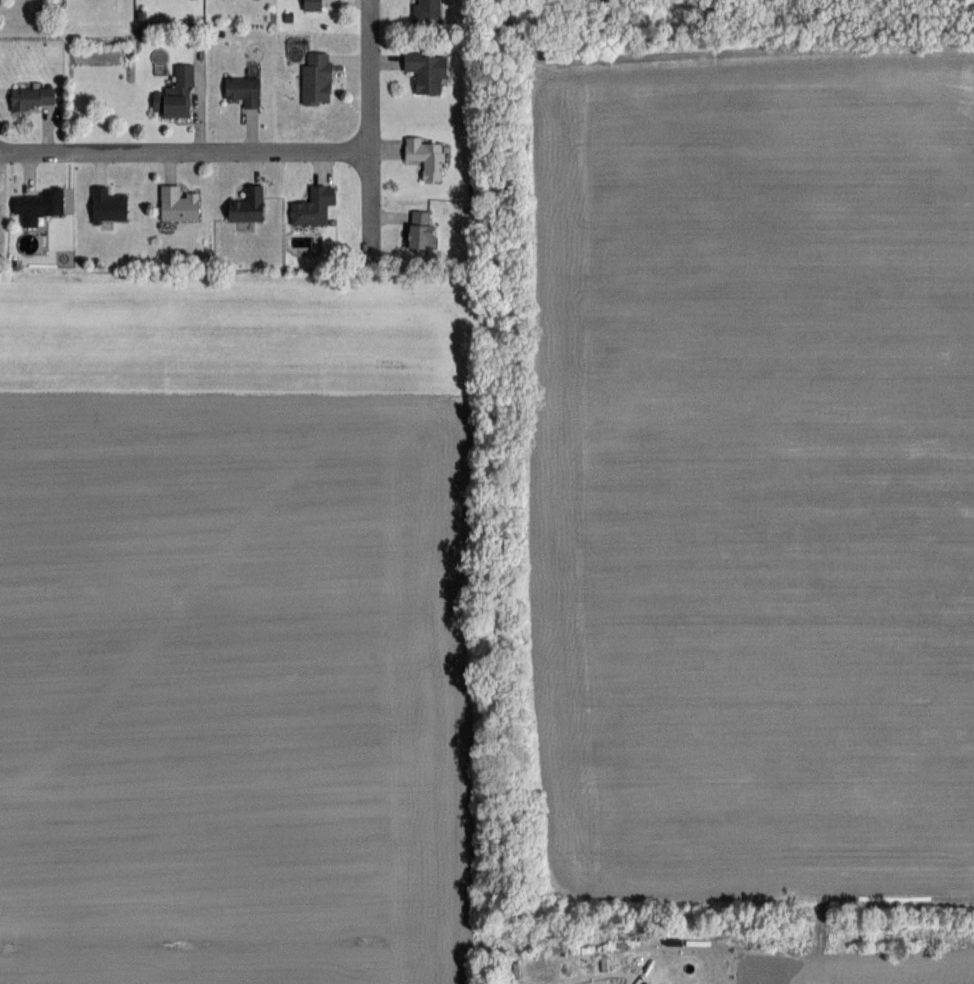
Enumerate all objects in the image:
building: (312, 4)
building: (426, 10)
building: (426, 71)
building: (316, 77)
building: (243, 89)
building: (175, 94)
building: (32, 97)
road: (373, 122)
road: (187, 152)
building: (426, 156)
building: (178, 203)
building: (108, 204)
building: (247, 204)
building: (38, 205)
building: (312, 205)
building: (420, 229)
crop: (233, 639)
crop: (873, 967)

